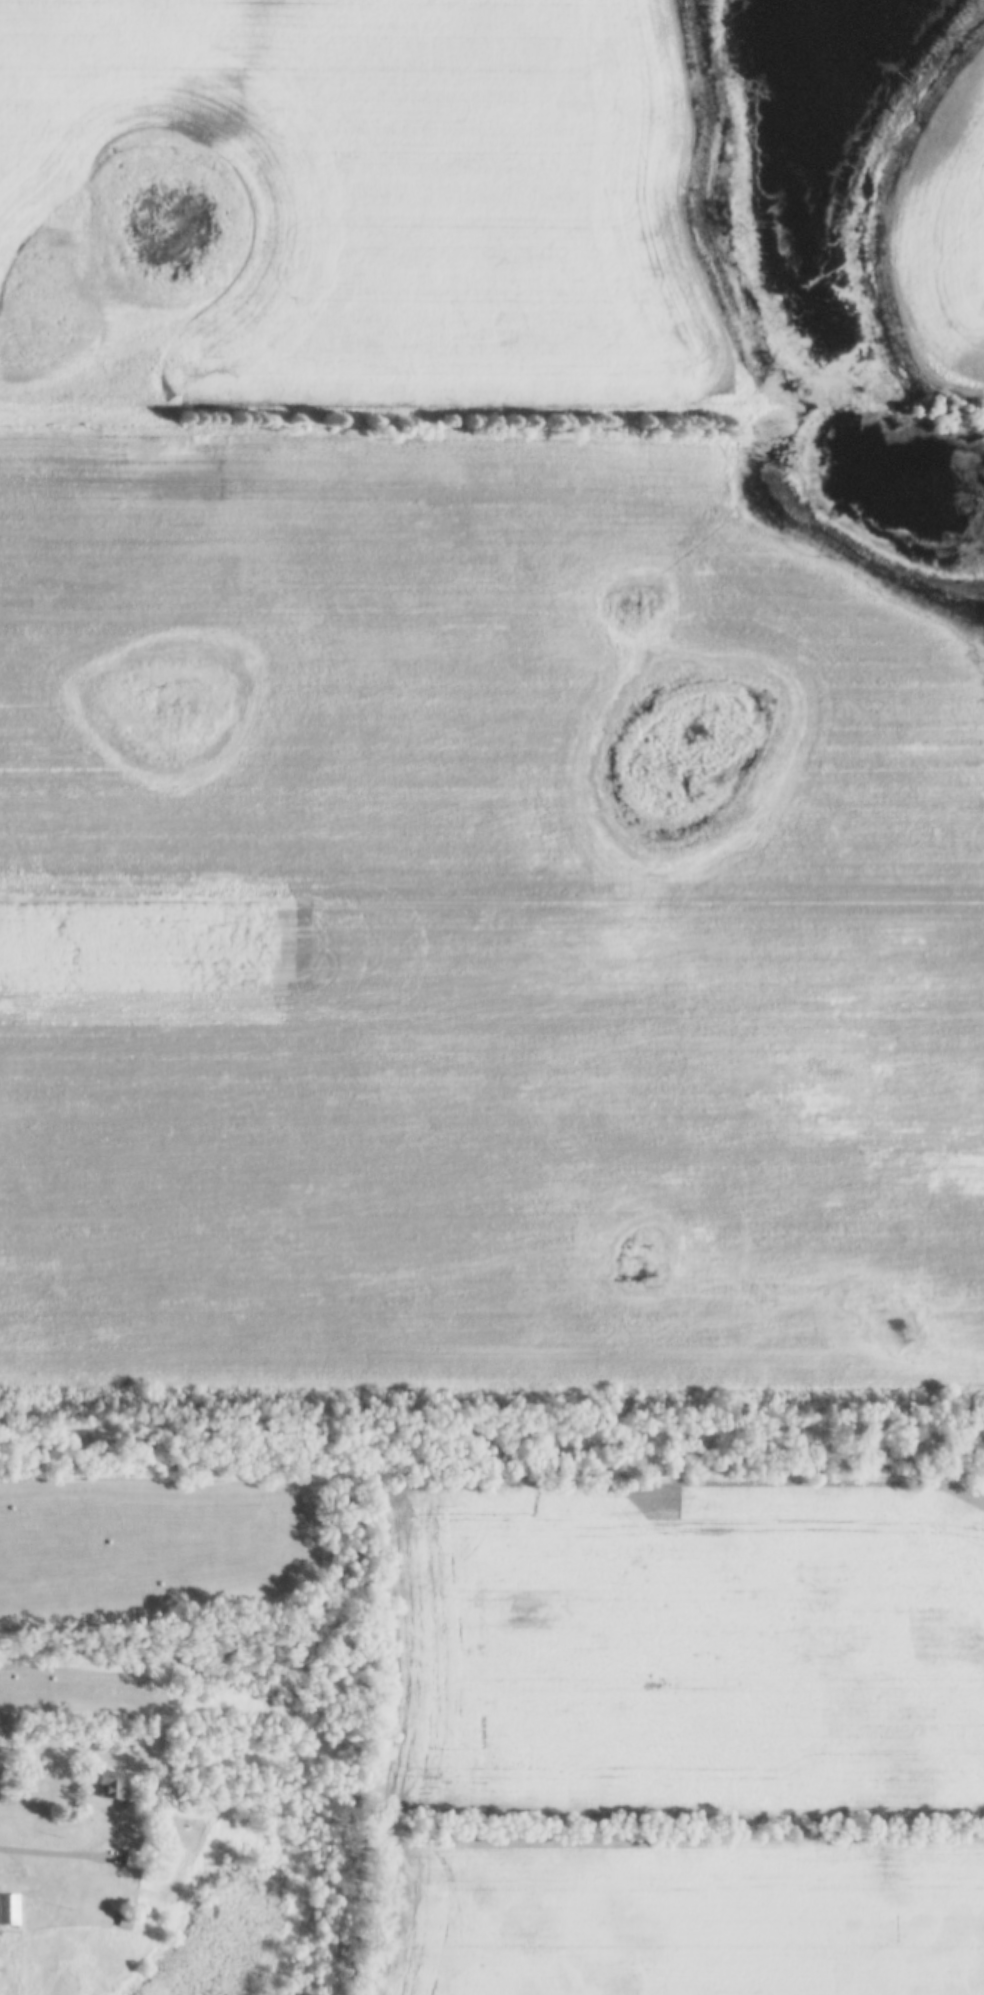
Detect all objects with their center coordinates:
building: (112, 1782)
road: (57, 1852)
building: (133, 1858)
building: (9, 1907)
building: (123, 1919)

